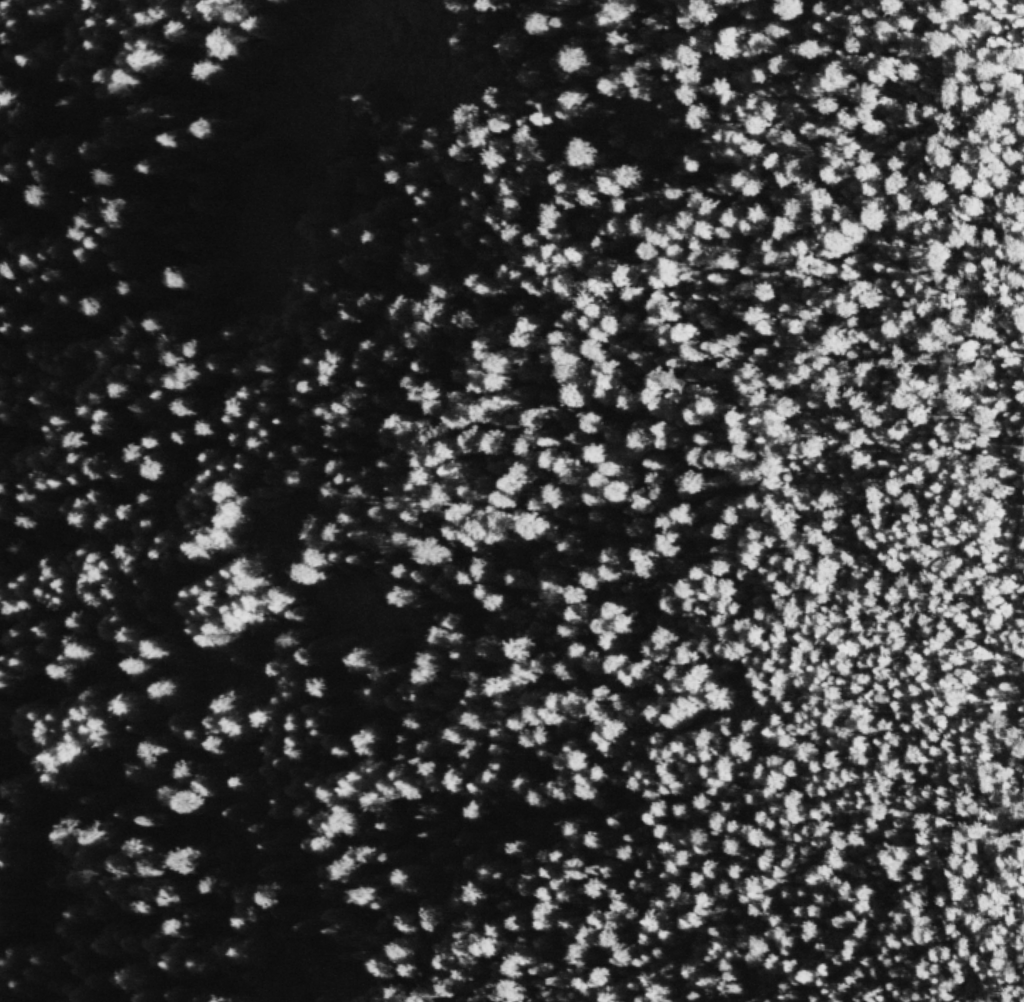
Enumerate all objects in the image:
road: (1017, 313)
road: (930, 834)

